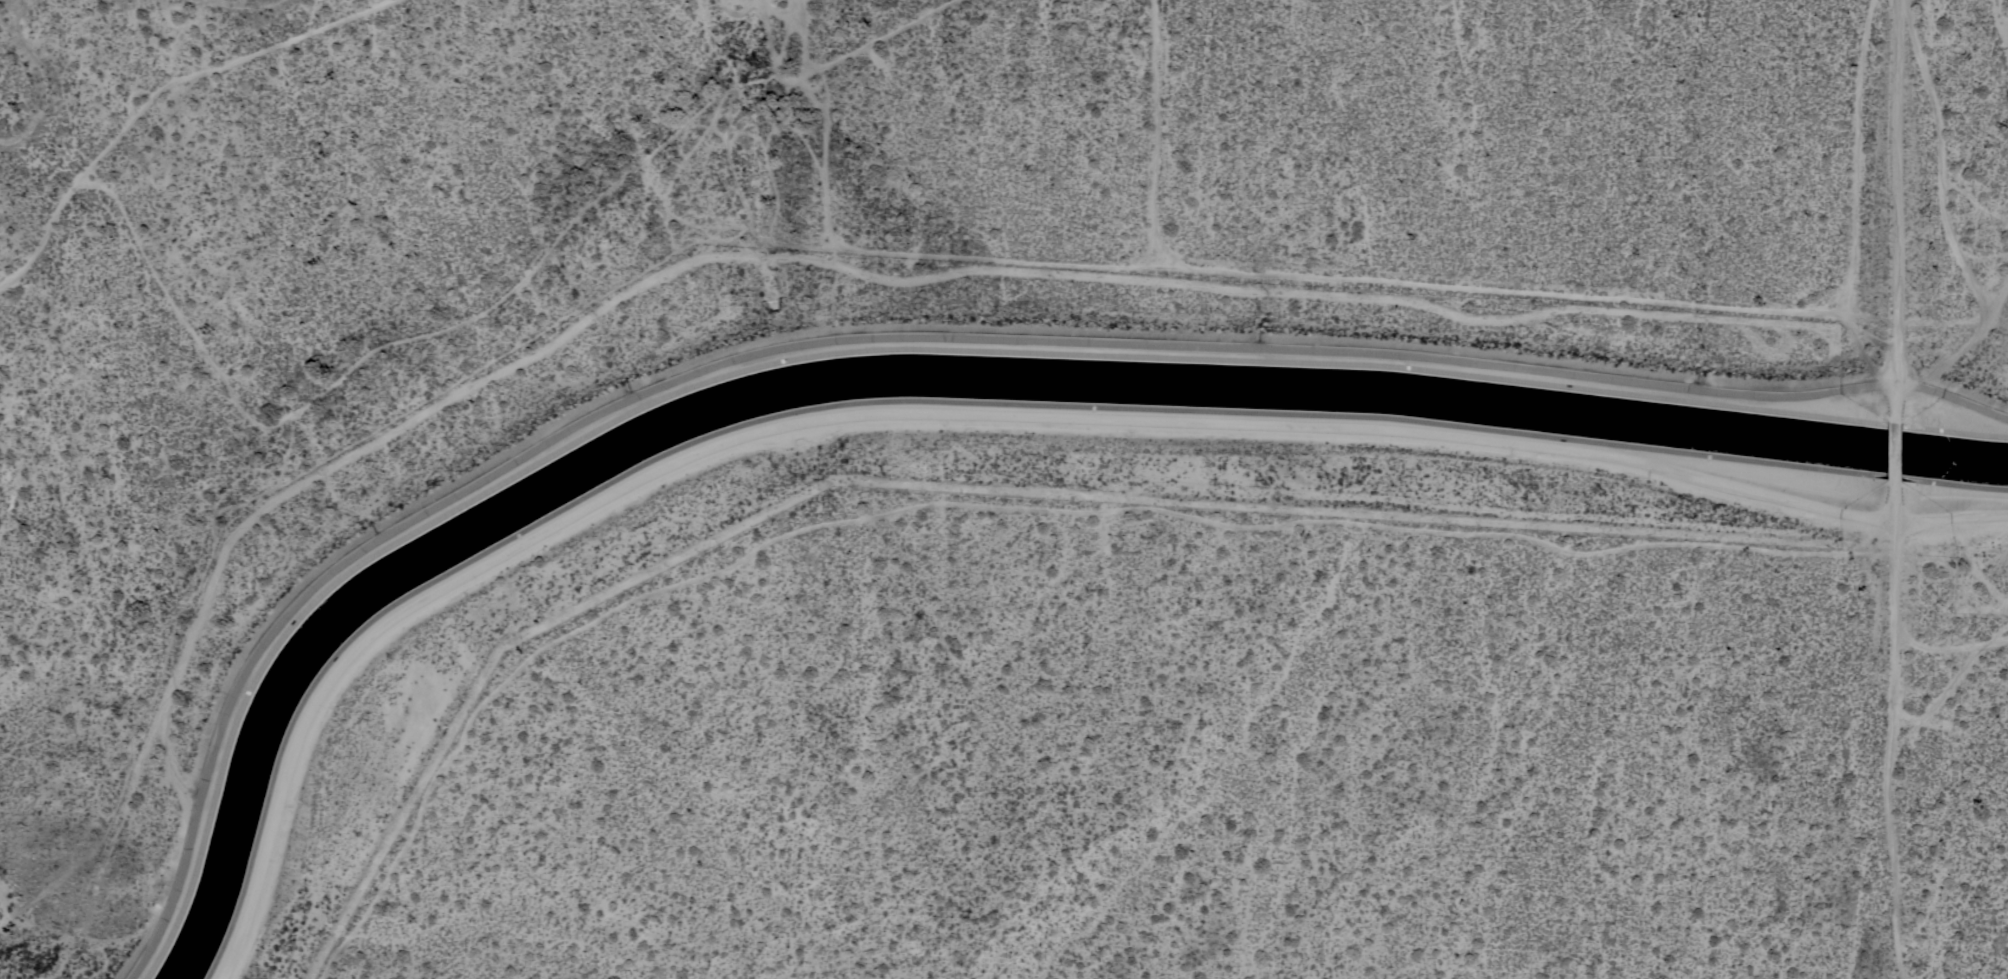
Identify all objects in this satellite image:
road: (1154, 124)

